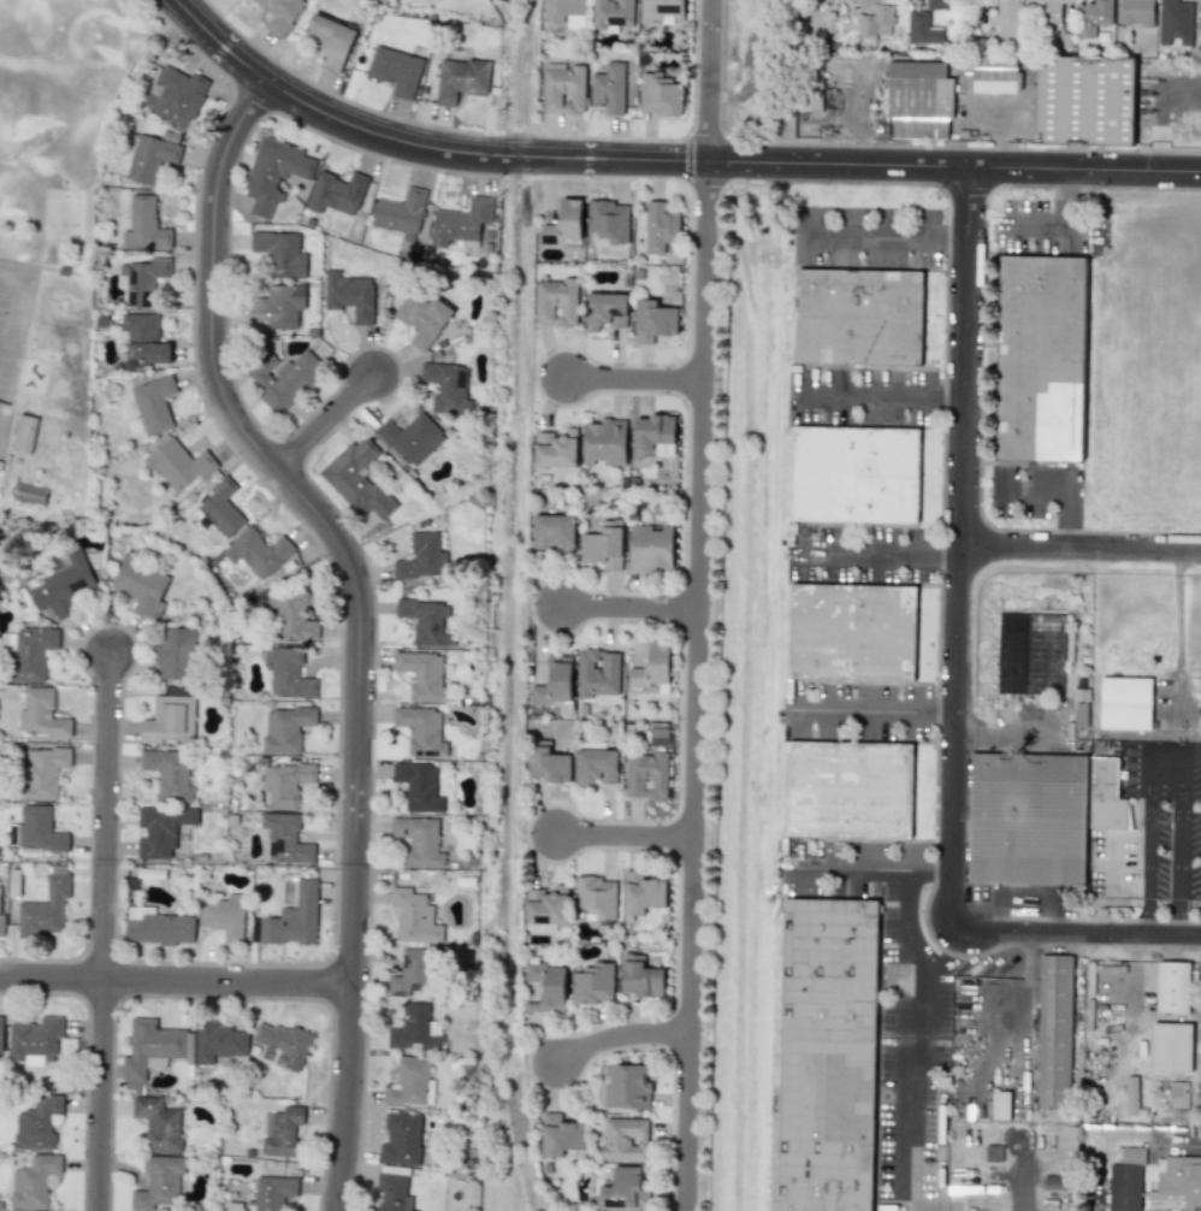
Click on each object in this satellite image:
building: (864, 2)
building: (935, 4)
rooftop solar panel: (669, 5)
building: (662, 10)
building: (1136, 12)
building: (280, 13)
building: (611, 13)
building: (564, 14)
building: (1048, 16)
building: (1093, 17)
rooftop solar panel: (617, 18)
building: (1006, 18)
building: (876, 22)
building: (922, 29)
building: (330, 40)
road: (221, 43)
railway: (519, 63)
building: (396, 70)
building: (995, 76)
park: (60, 78)
building: (460, 79)
building: (563, 88)
building: (608, 88)
building: (176, 95)
building: (661, 95)
building: (918, 99)
building: (1084, 100)
road: (480, 153)
building: (152, 155)
road: (952, 165)
building: (273, 173)
building: (336, 193)
building: (400, 213)
building: (608, 219)
building: (461, 223)
building: (563, 223)
building: (144, 224)
building: (659, 228)
road: (872, 236)
road: (954, 237)
building: (279, 253)
building: (141, 279)
building: (349, 295)
building: (556, 302)
building: (277, 308)
building: (605, 311)
building: (856, 317)
building: (422, 318)
building: (653, 320)
building: (143, 338)
building: (1037, 356)
building: (282, 377)
rooftop solar panel: (462, 377)
road: (632, 379)
building: (446, 388)
road: (869, 396)
road: (949, 397)
building: (154, 404)
road: (326, 423)
building: (23, 433)
building: (653, 436)
building: (410, 438)
building: (604, 442)
building: (556, 448)
building: (178, 463)
building: (853, 473)
building: (357, 479)
road: (1064, 490)
building: (28, 492)
building: (220, 508)
building: (555, 532)
building: (604, 545)
building: (650, 547)
road: (958, 549)
building: (258, 553)
road: (863, 553)
road: (946, 555)
road: (1078, 557)
building: (422, 559)
rooftop solar panel: (76, 585)
building: (142, 585)
building: (64, 586)
building: (288, 599)
road: (696, 604)
road: (515, 607)
road: (626, 608)
road: (360, 615)
building: (426, 620)
building: (297, 628)
building: (848, 632)
building: (29, 651)
building: (176, 654)
building: (652, 667)
building: (288, 673)
building: (421, 673)
building: (597, 673)
building: (554, 681)
railway: (504, 696)
building: (1125, 703)
road: (859, 710)
road: (942, 713)
building: (40, 714)
building: (170, 719)
building: (285, 728)
building: (421, 731)
road: (1016, 734)
building: (548, 763)
road: (1166, 763)
building: (596, 766)
building: (43, 772)
building: (168, 773)
building: (646, 775)
building: (285, 782)
building: (418, 786)
building: (845, 787)
building: (1105, 796)
building: (1033, 820)
building: (161, 829)
building: (35, 831)
road: (621, 835)
building: (284, 838)
building: (419, 840)
road: (851, 875)
road: (930, 876)
building: (641, 893)
building: (596, 897)
building: (546, 905)
building: (0, 909)
building: (45, 909)
building: (223, 916)
building: (413, 916)
building: (294, 918)
rooftop solar panel: (544, 921)
building: (158, 926)
road: (107, 932)
road: (1075, 934)
road: (918, 952)
rooftop solar panel: (407, 962)
building: (410, 973)
building: (640, 976)
road: (177, 981)
building: (592, 983)
rooftop solar panel: (418, 985)
building: (544, 987)
building: (1172, 987)
rooftop solar panel: (398, 993)
building: (414, 1028)
building: (1054, 1030)
road: (616, 1034)
building: (1, 1035)
building: (35, 1039)
building: (218, 1041)
building: (283, 1045)
building: (1171, 1046)
building: (149, 1050)
building: (823, 1055)
building: (408, 1083)
building: (623, 1086)
building: (1177, 1094)
building: (999, 1104)
building: (37, 1123)
building: (158, 1124)
road: (915, 1128)
building: (282, 1130)
building: (560, 1135)
building: (401, 1139)
building: (625, 1139)
road: (1149, 1144)
building: (1179, 1178)
building: (1125, 1180)
building: (34, 1181)
building: (158, 1182)
building: (1054, 1182)
building: (622, 1188)
building: (273, 1192)
building: (392, 1193)
rooftop solar panel: (617, 1204)

